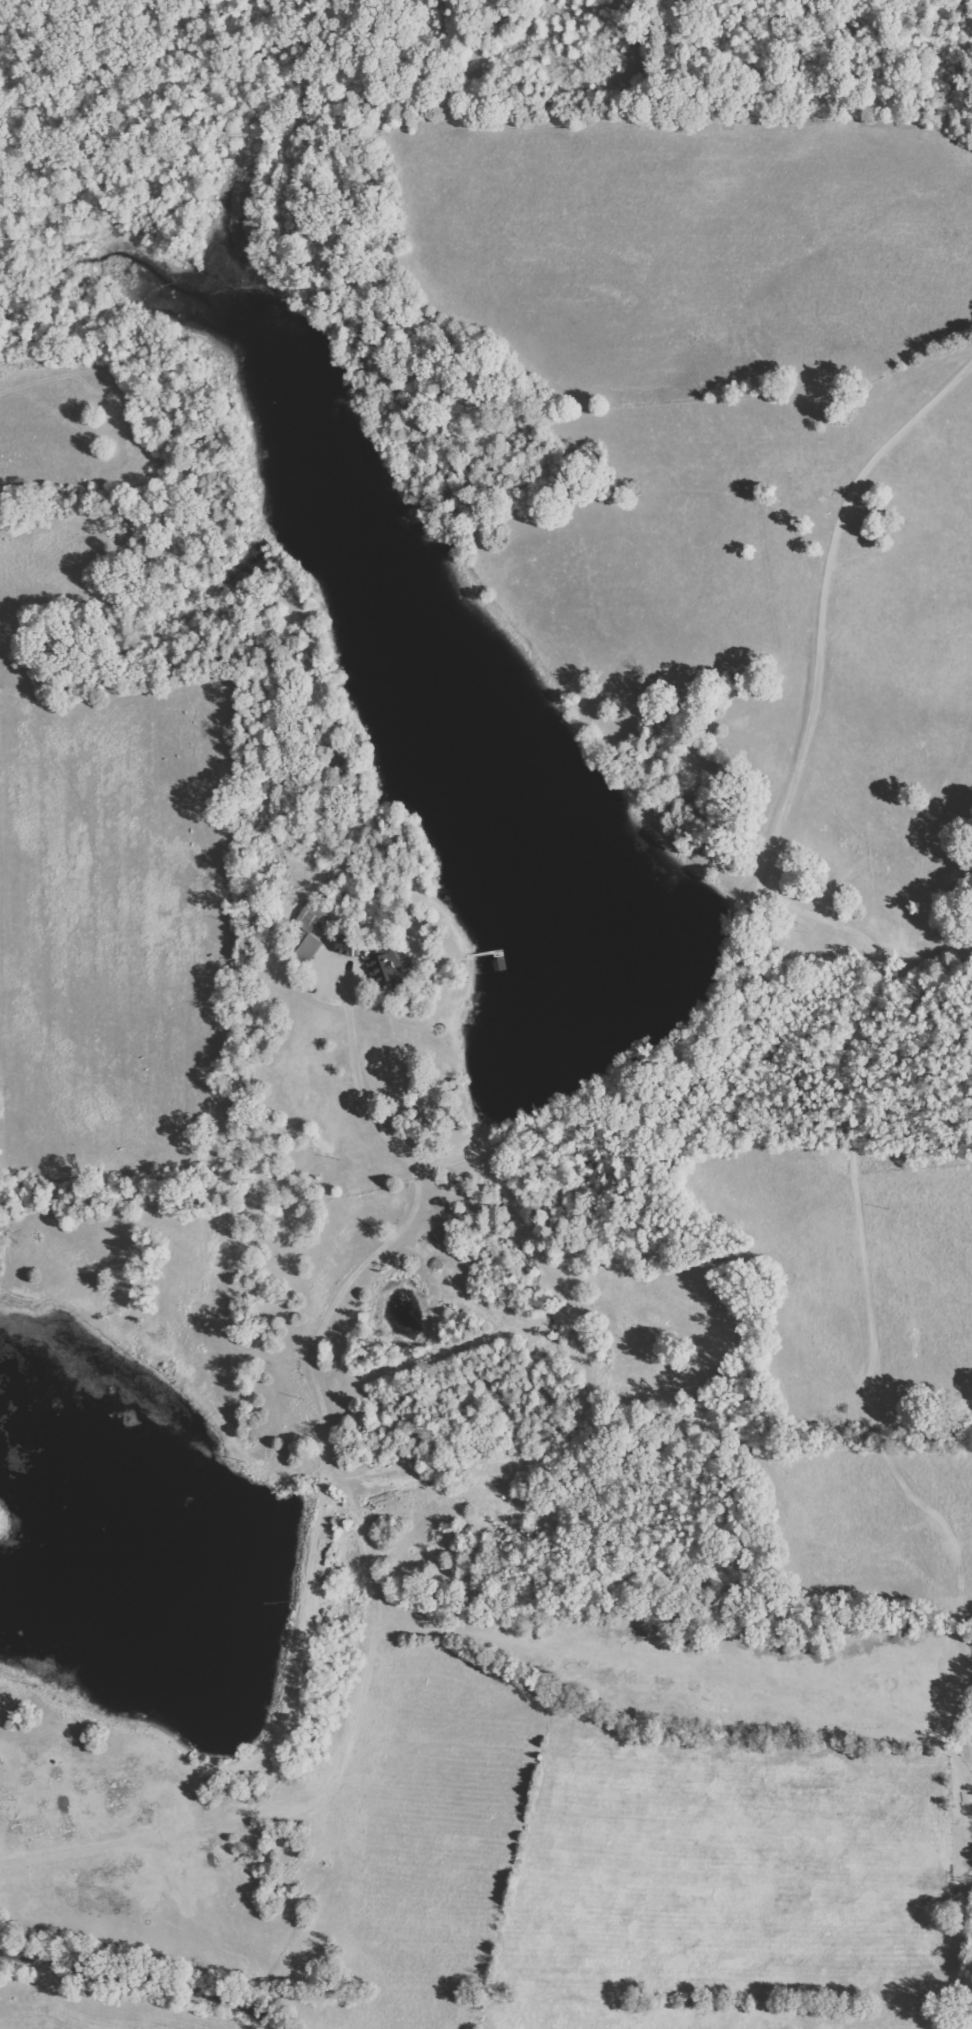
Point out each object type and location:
road: (774, 834)
building: (316, 919)
building: (347, 945)
building: (309, 947)
building: (386, 966)
road: (352, 1073)
road: (845, 1099)
road: (371, 1619)
road: (144, 1976)

